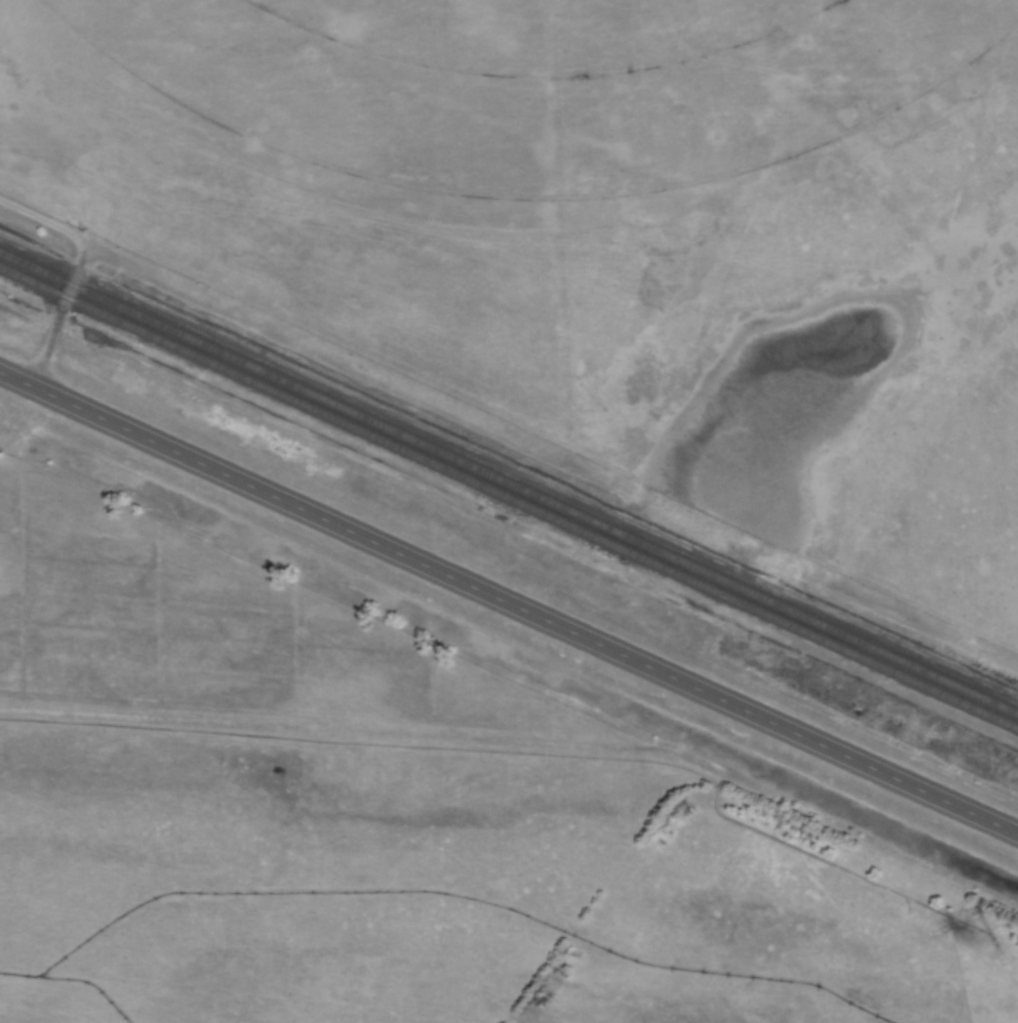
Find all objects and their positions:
railway: (509, 481)
railway: (509, 496)
road: (509, 602)

